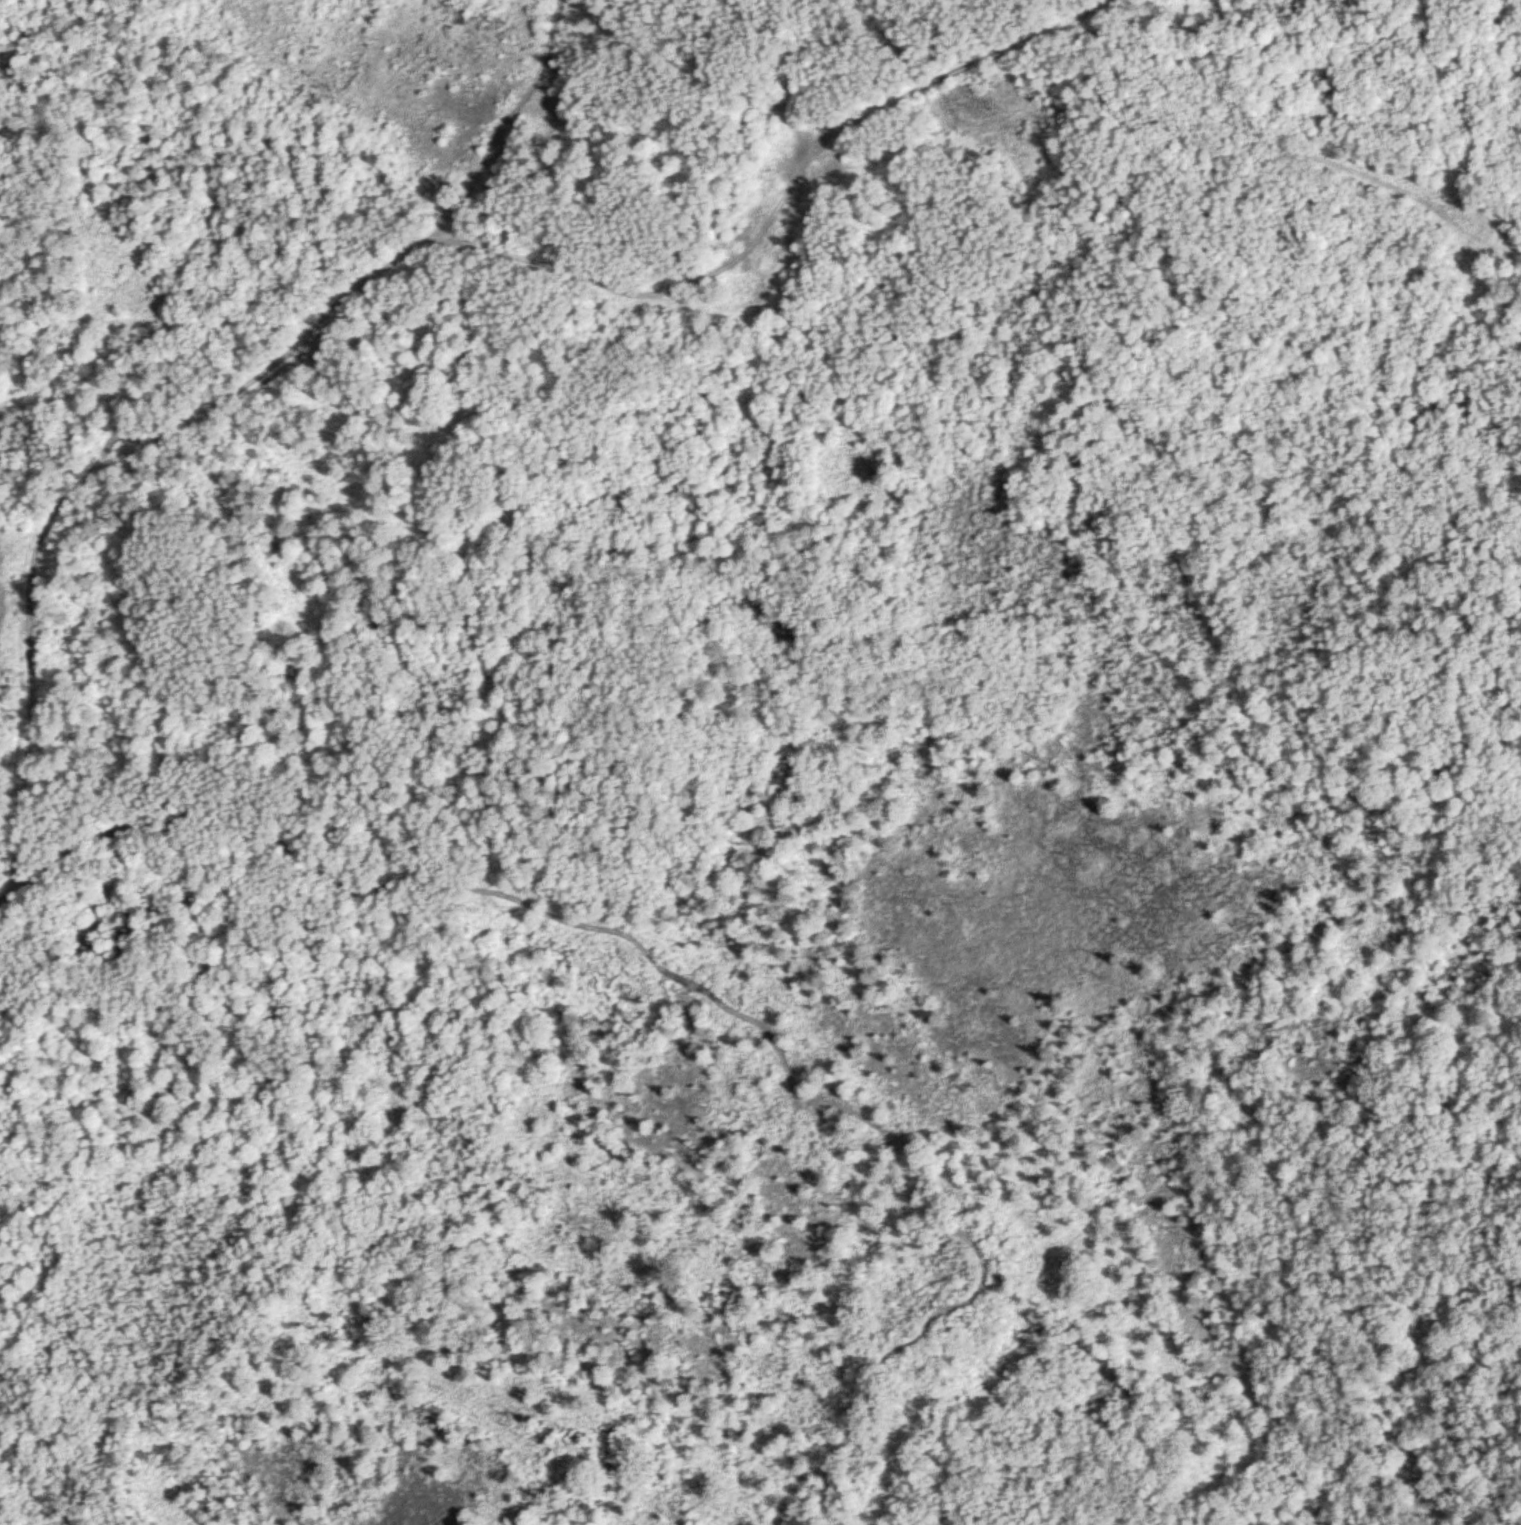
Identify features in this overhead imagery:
road: (1081, 14)
road: (501, 134)
road: (635, 294)
road: (700, 985)

